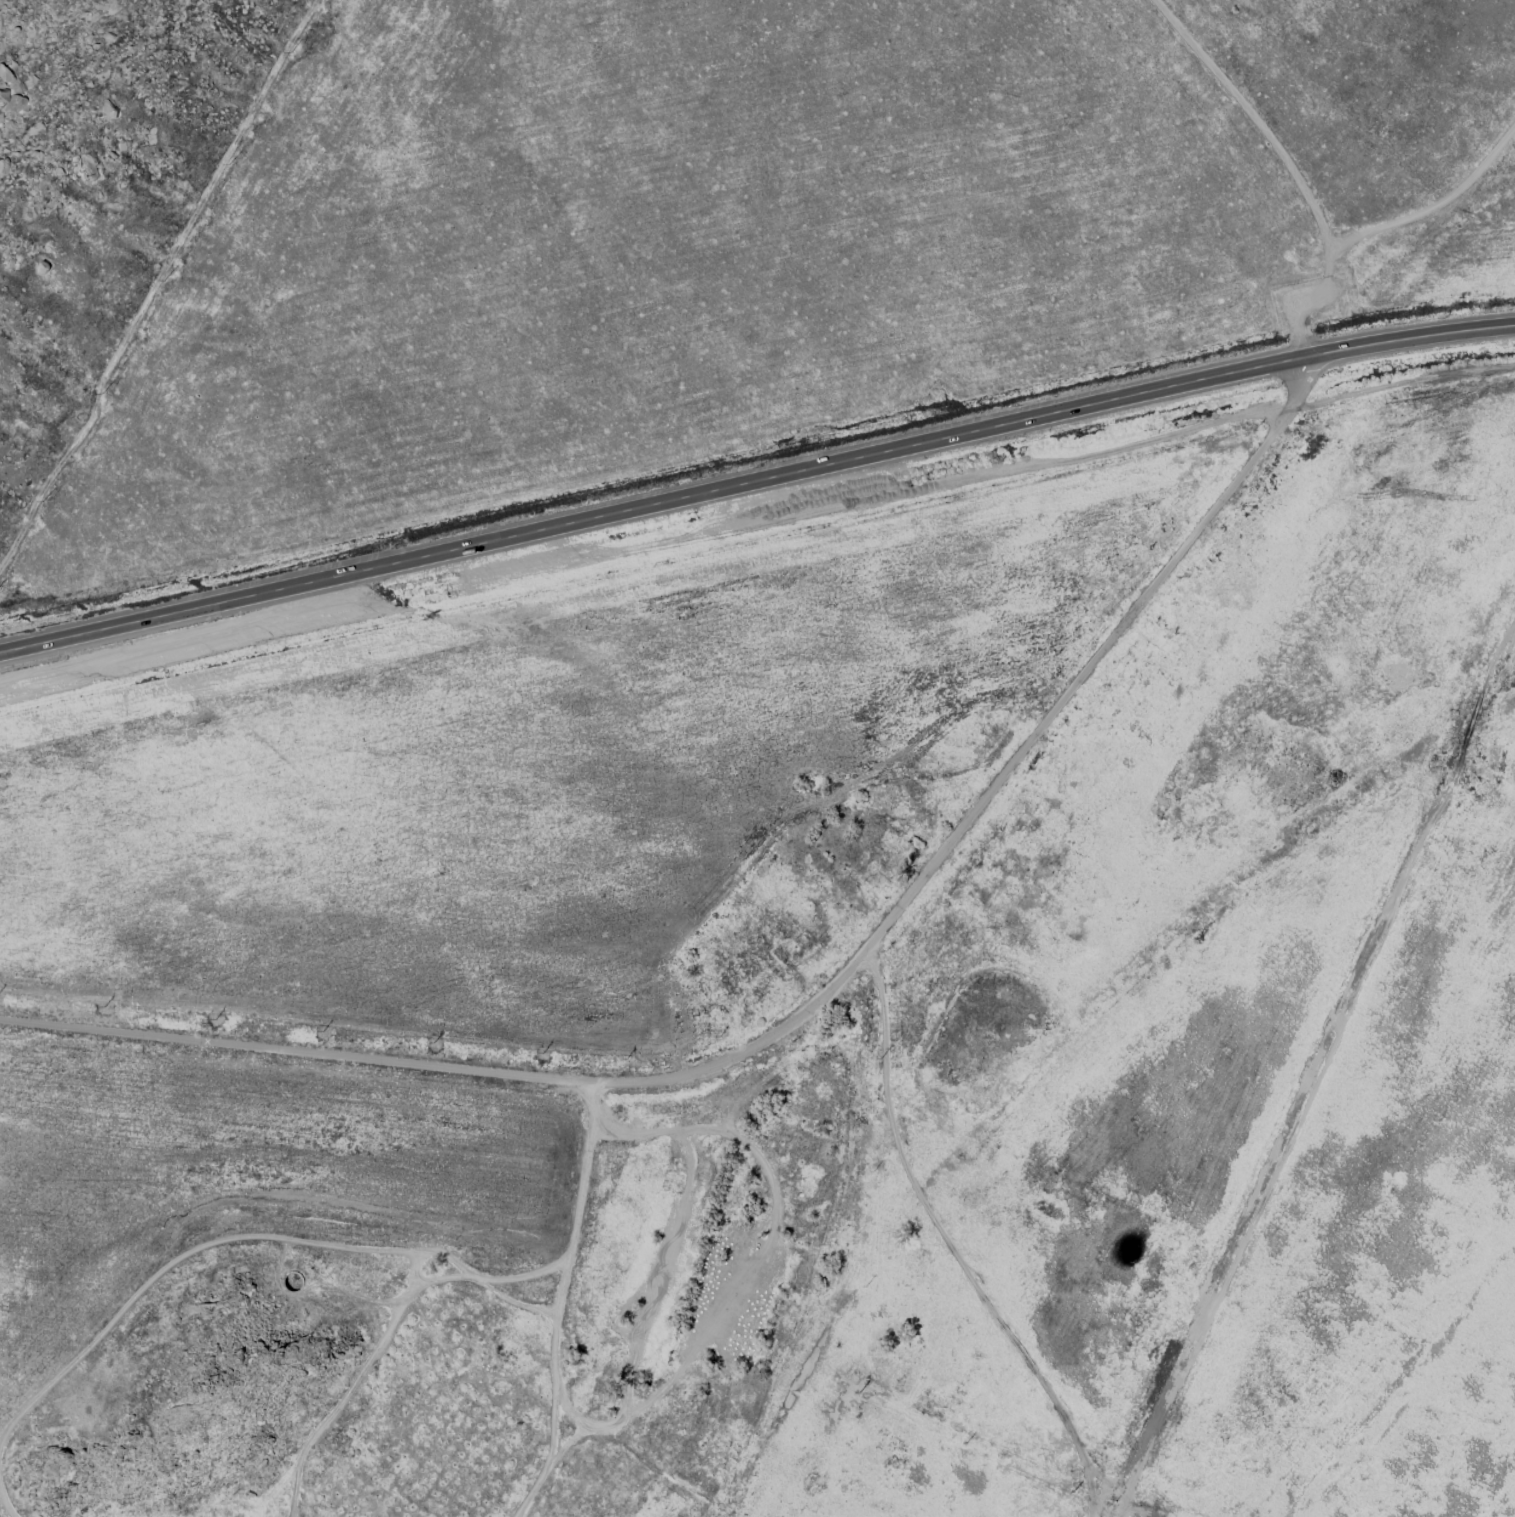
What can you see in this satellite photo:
road: (1383, 229)
road: (755, 479)
road: (807, 1012)

